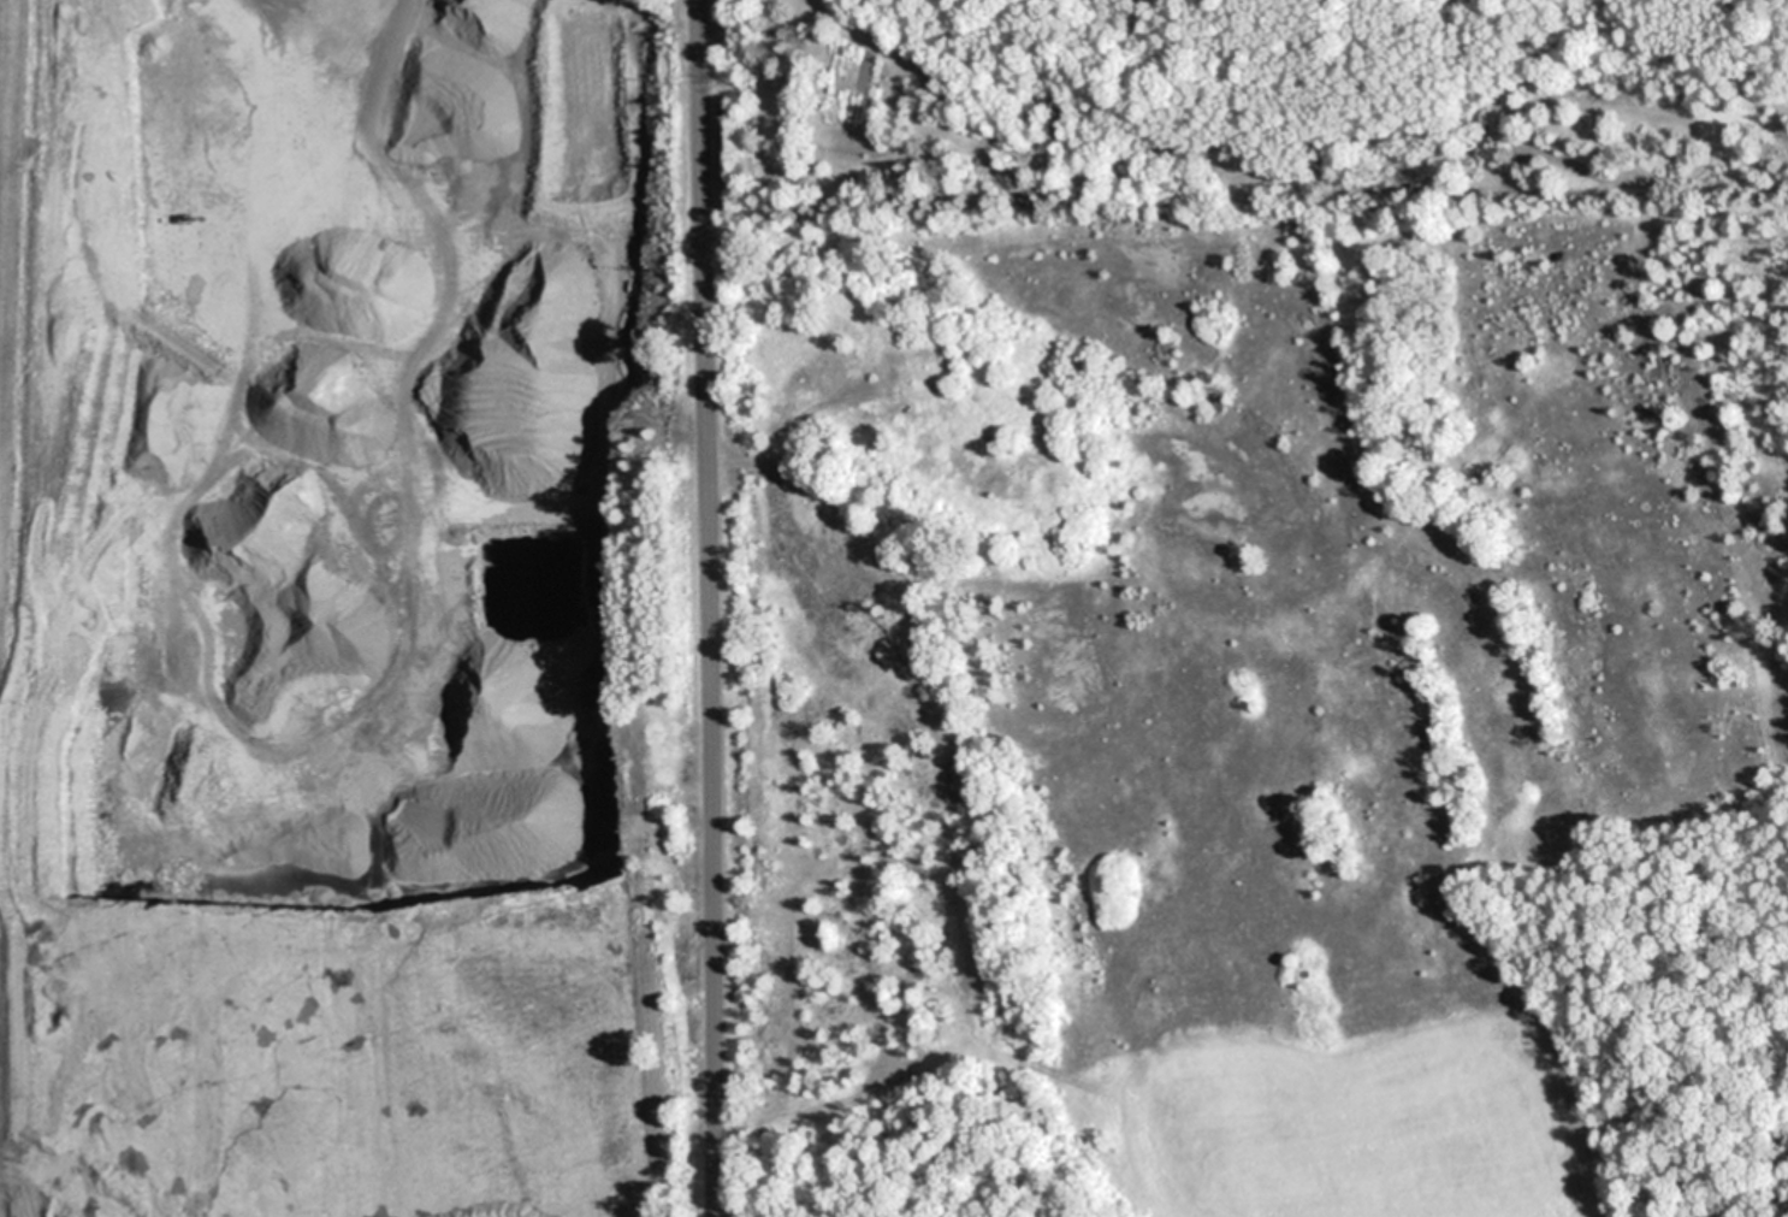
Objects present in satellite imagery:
road: (711, 608)
quarry: (350, 612)

